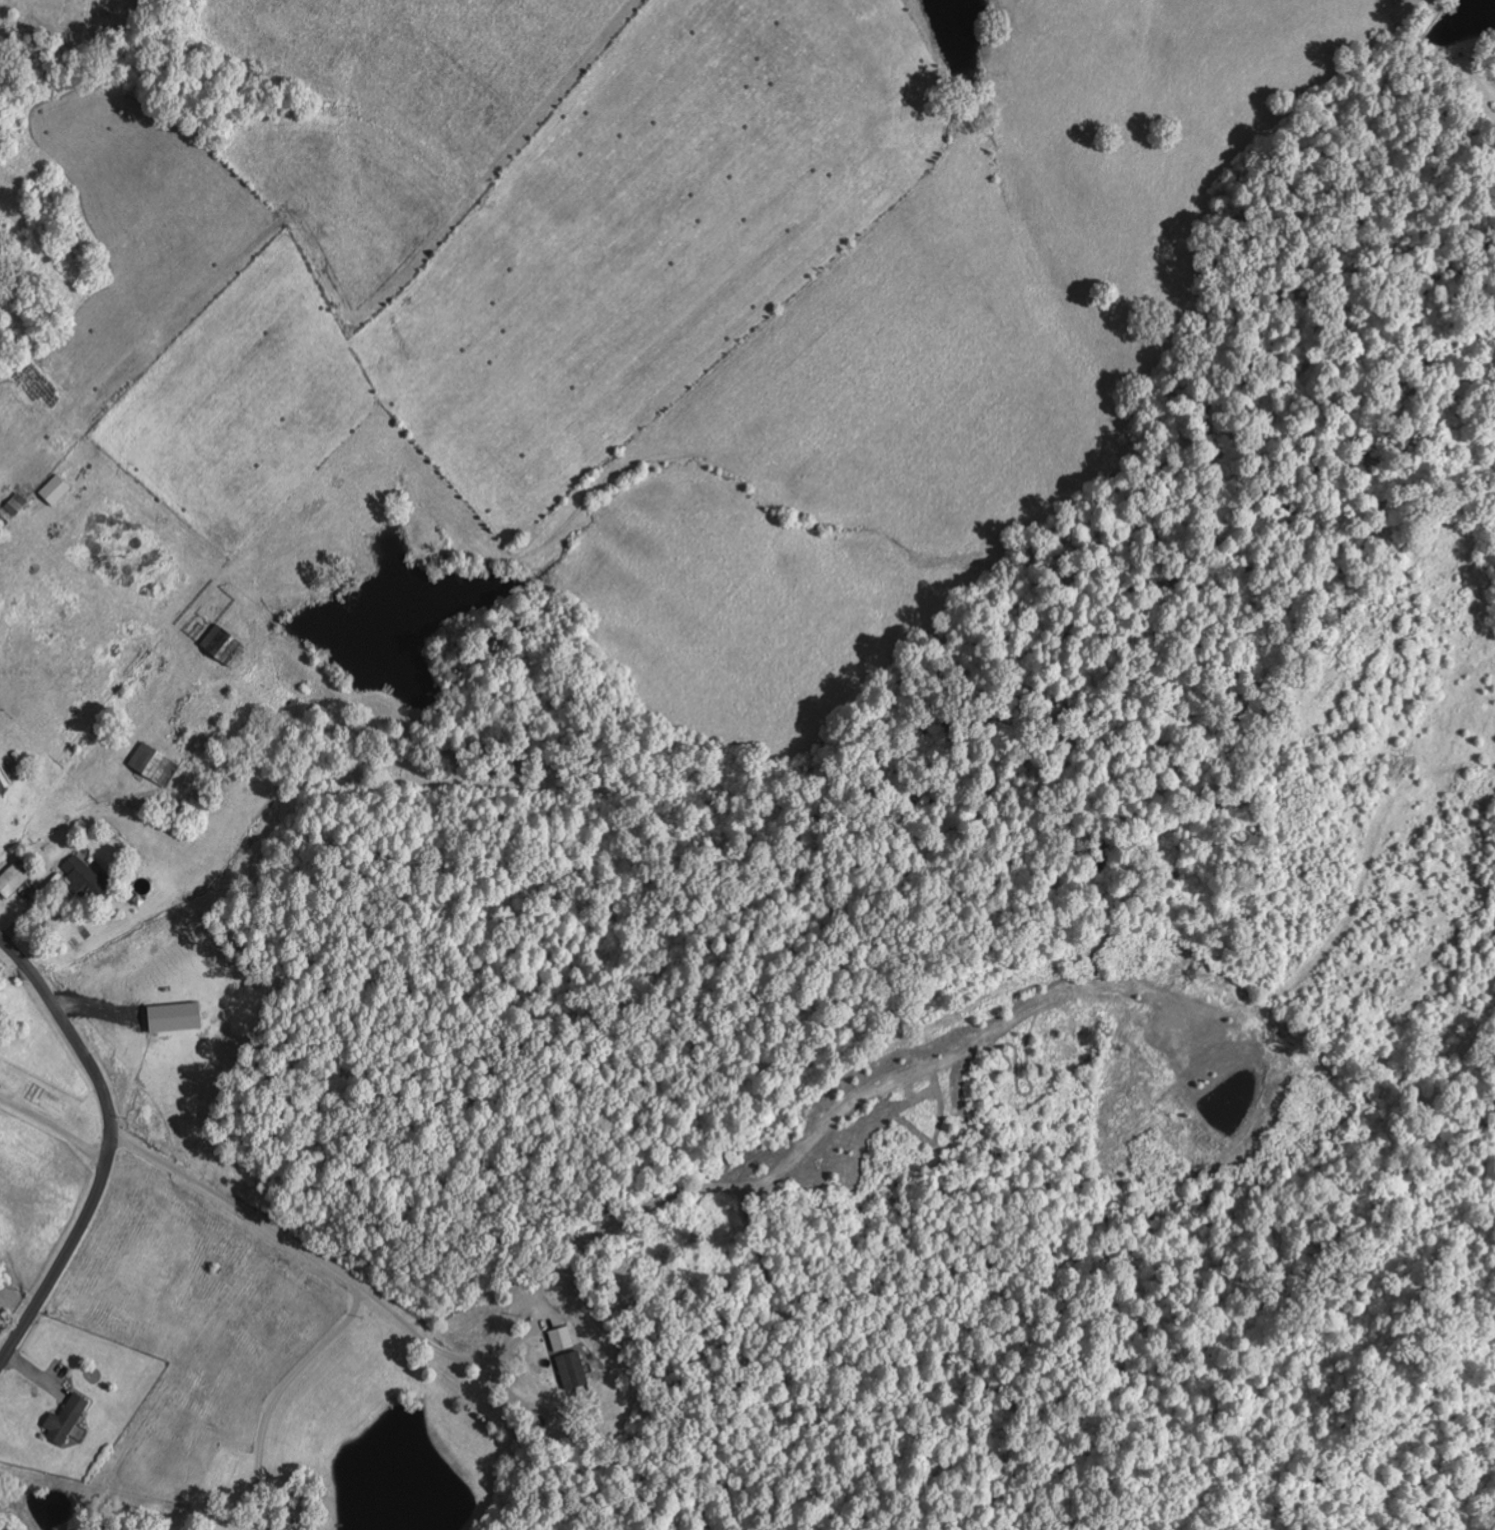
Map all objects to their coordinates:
building: (56, 490)
building: (18, 502)
building: (221, 643)
building: (155, 765)
building: (4, 779)
building: (85, 877)
building: (13, 880)
road: (39, 1057)
road: (110, 1150)
road: (477, 1242)
building: (562, 1337)
building: (573, 1369)
road: (275, 1396)
road: (445, 1406)
building: (68, 1420)

